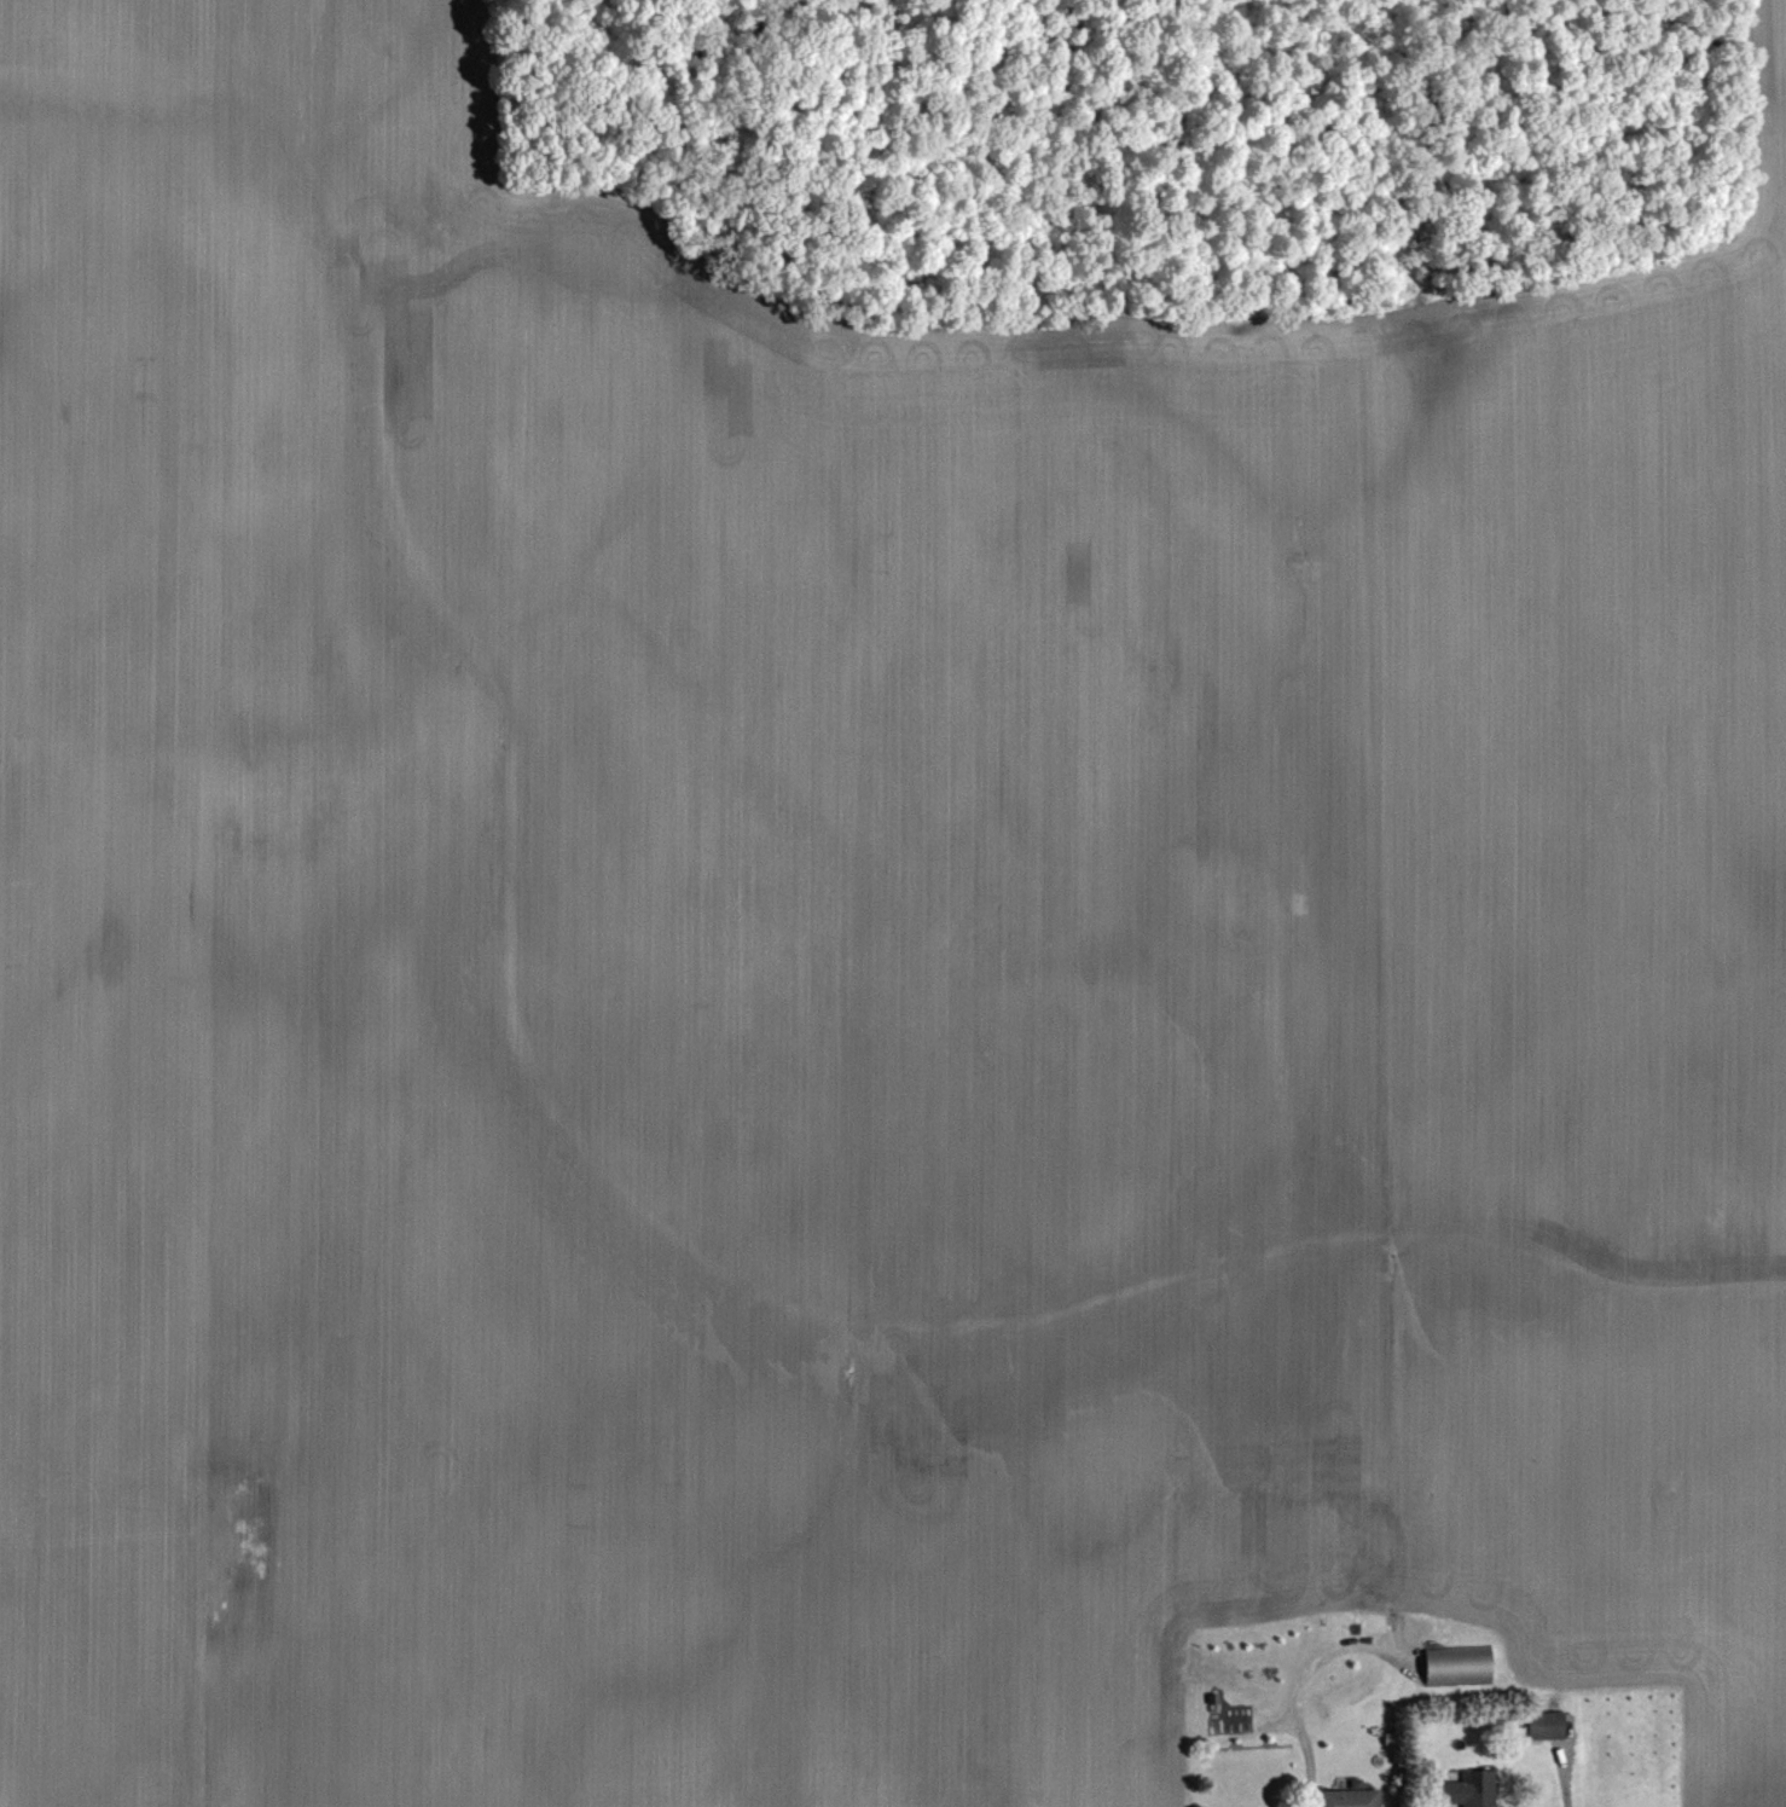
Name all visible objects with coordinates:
building: (1239, 925)
building: (1336, 1546)
building: (1298, 1633)
building: (1459, 1666)
building: (1237, 1680)
road: (1293, 1689)
building: (1547, 1726)
building: (1468, 1790)
building: (1350, 1799)

